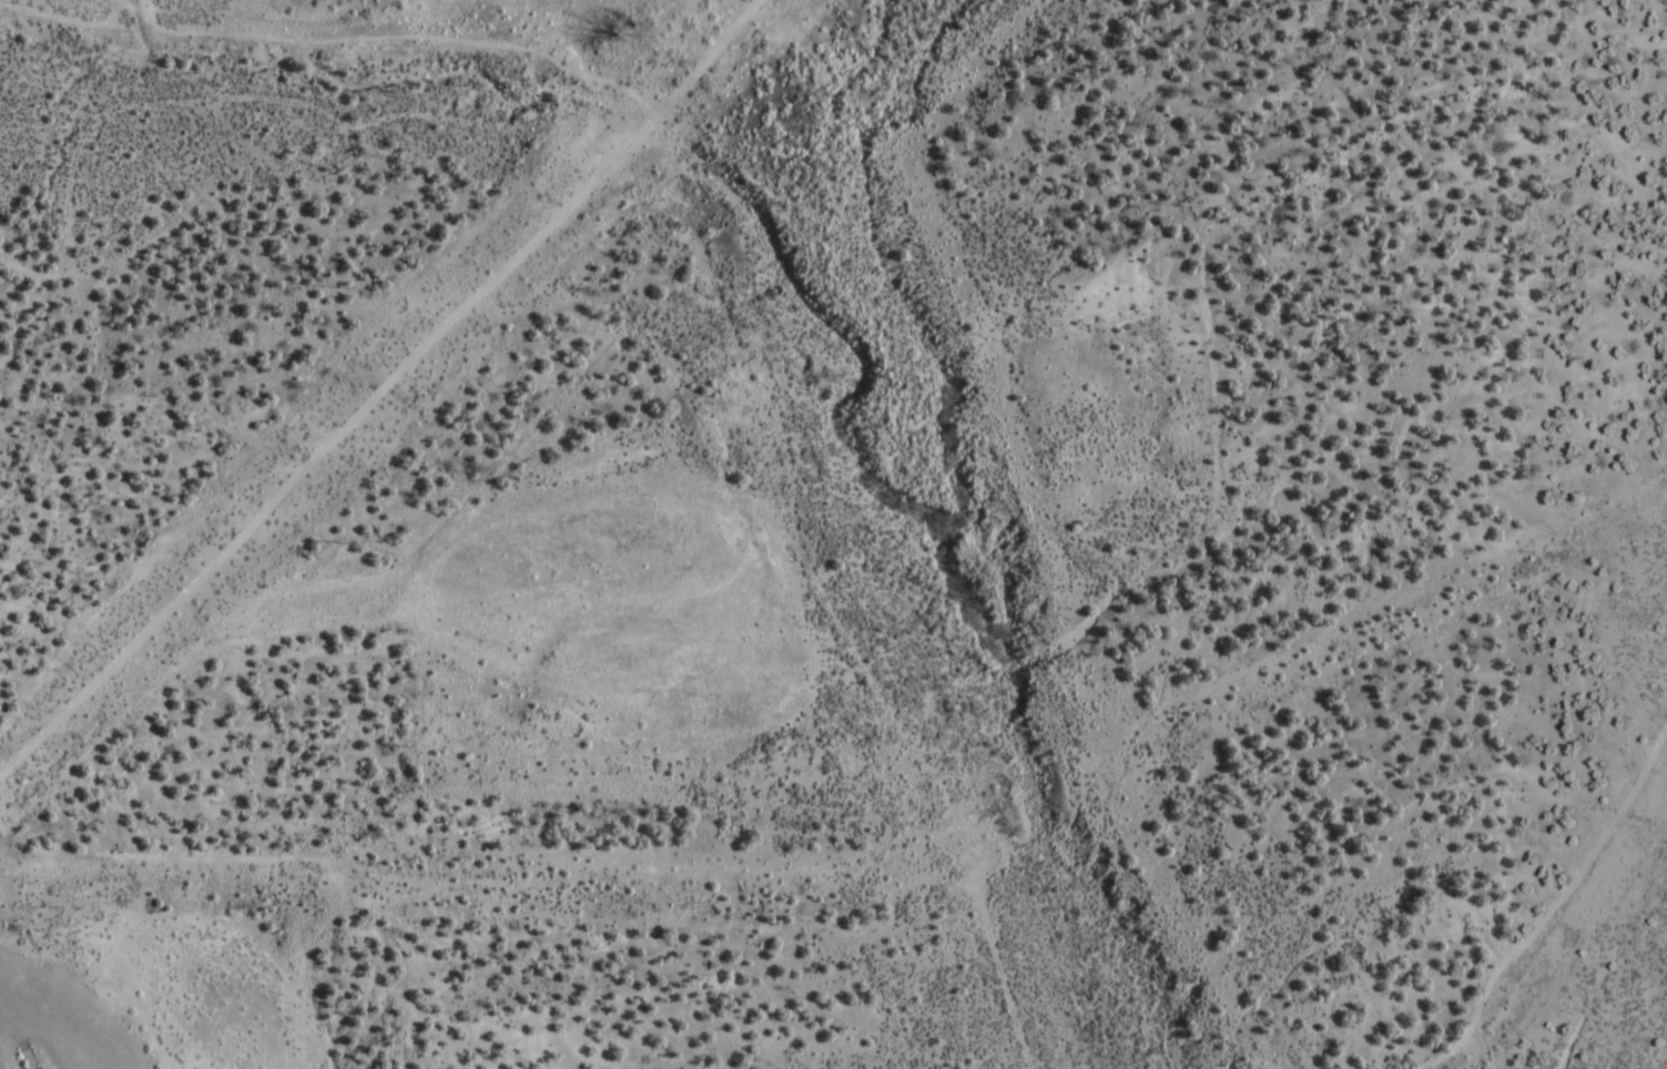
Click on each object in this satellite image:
road: (380, 389)

